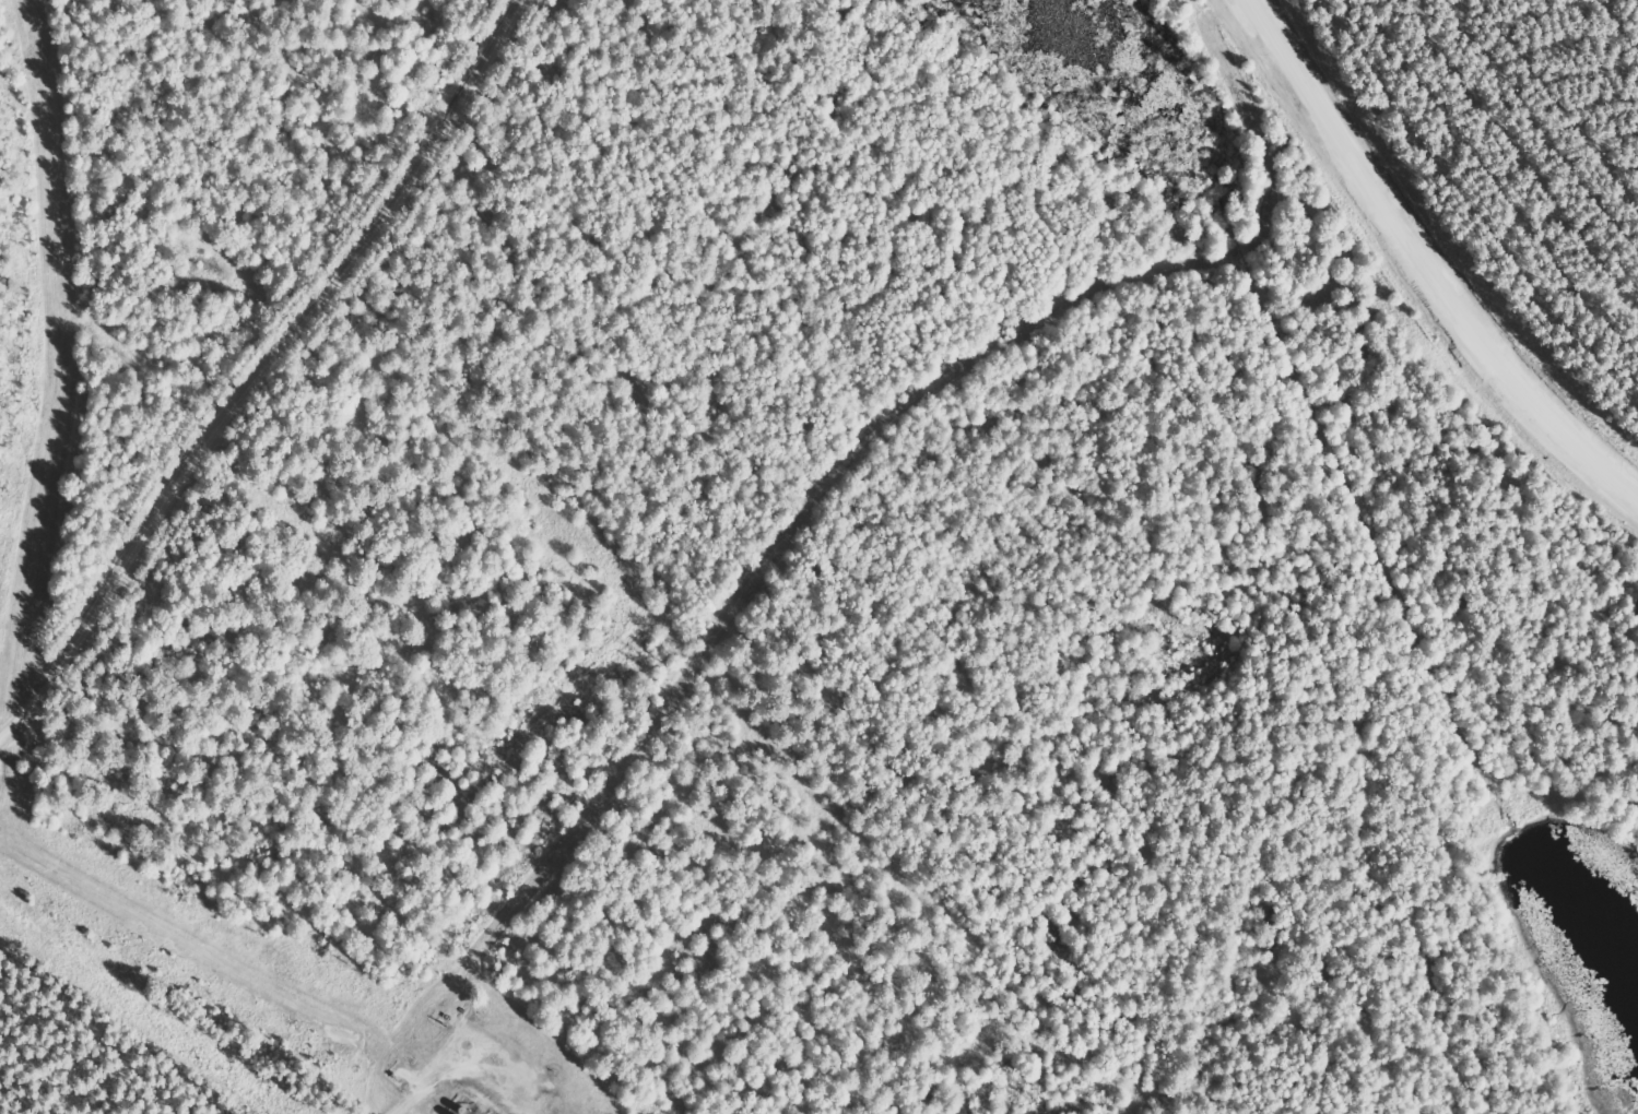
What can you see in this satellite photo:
road: (1419, 270)
road: (263, 368)
road: (413, 1093)

